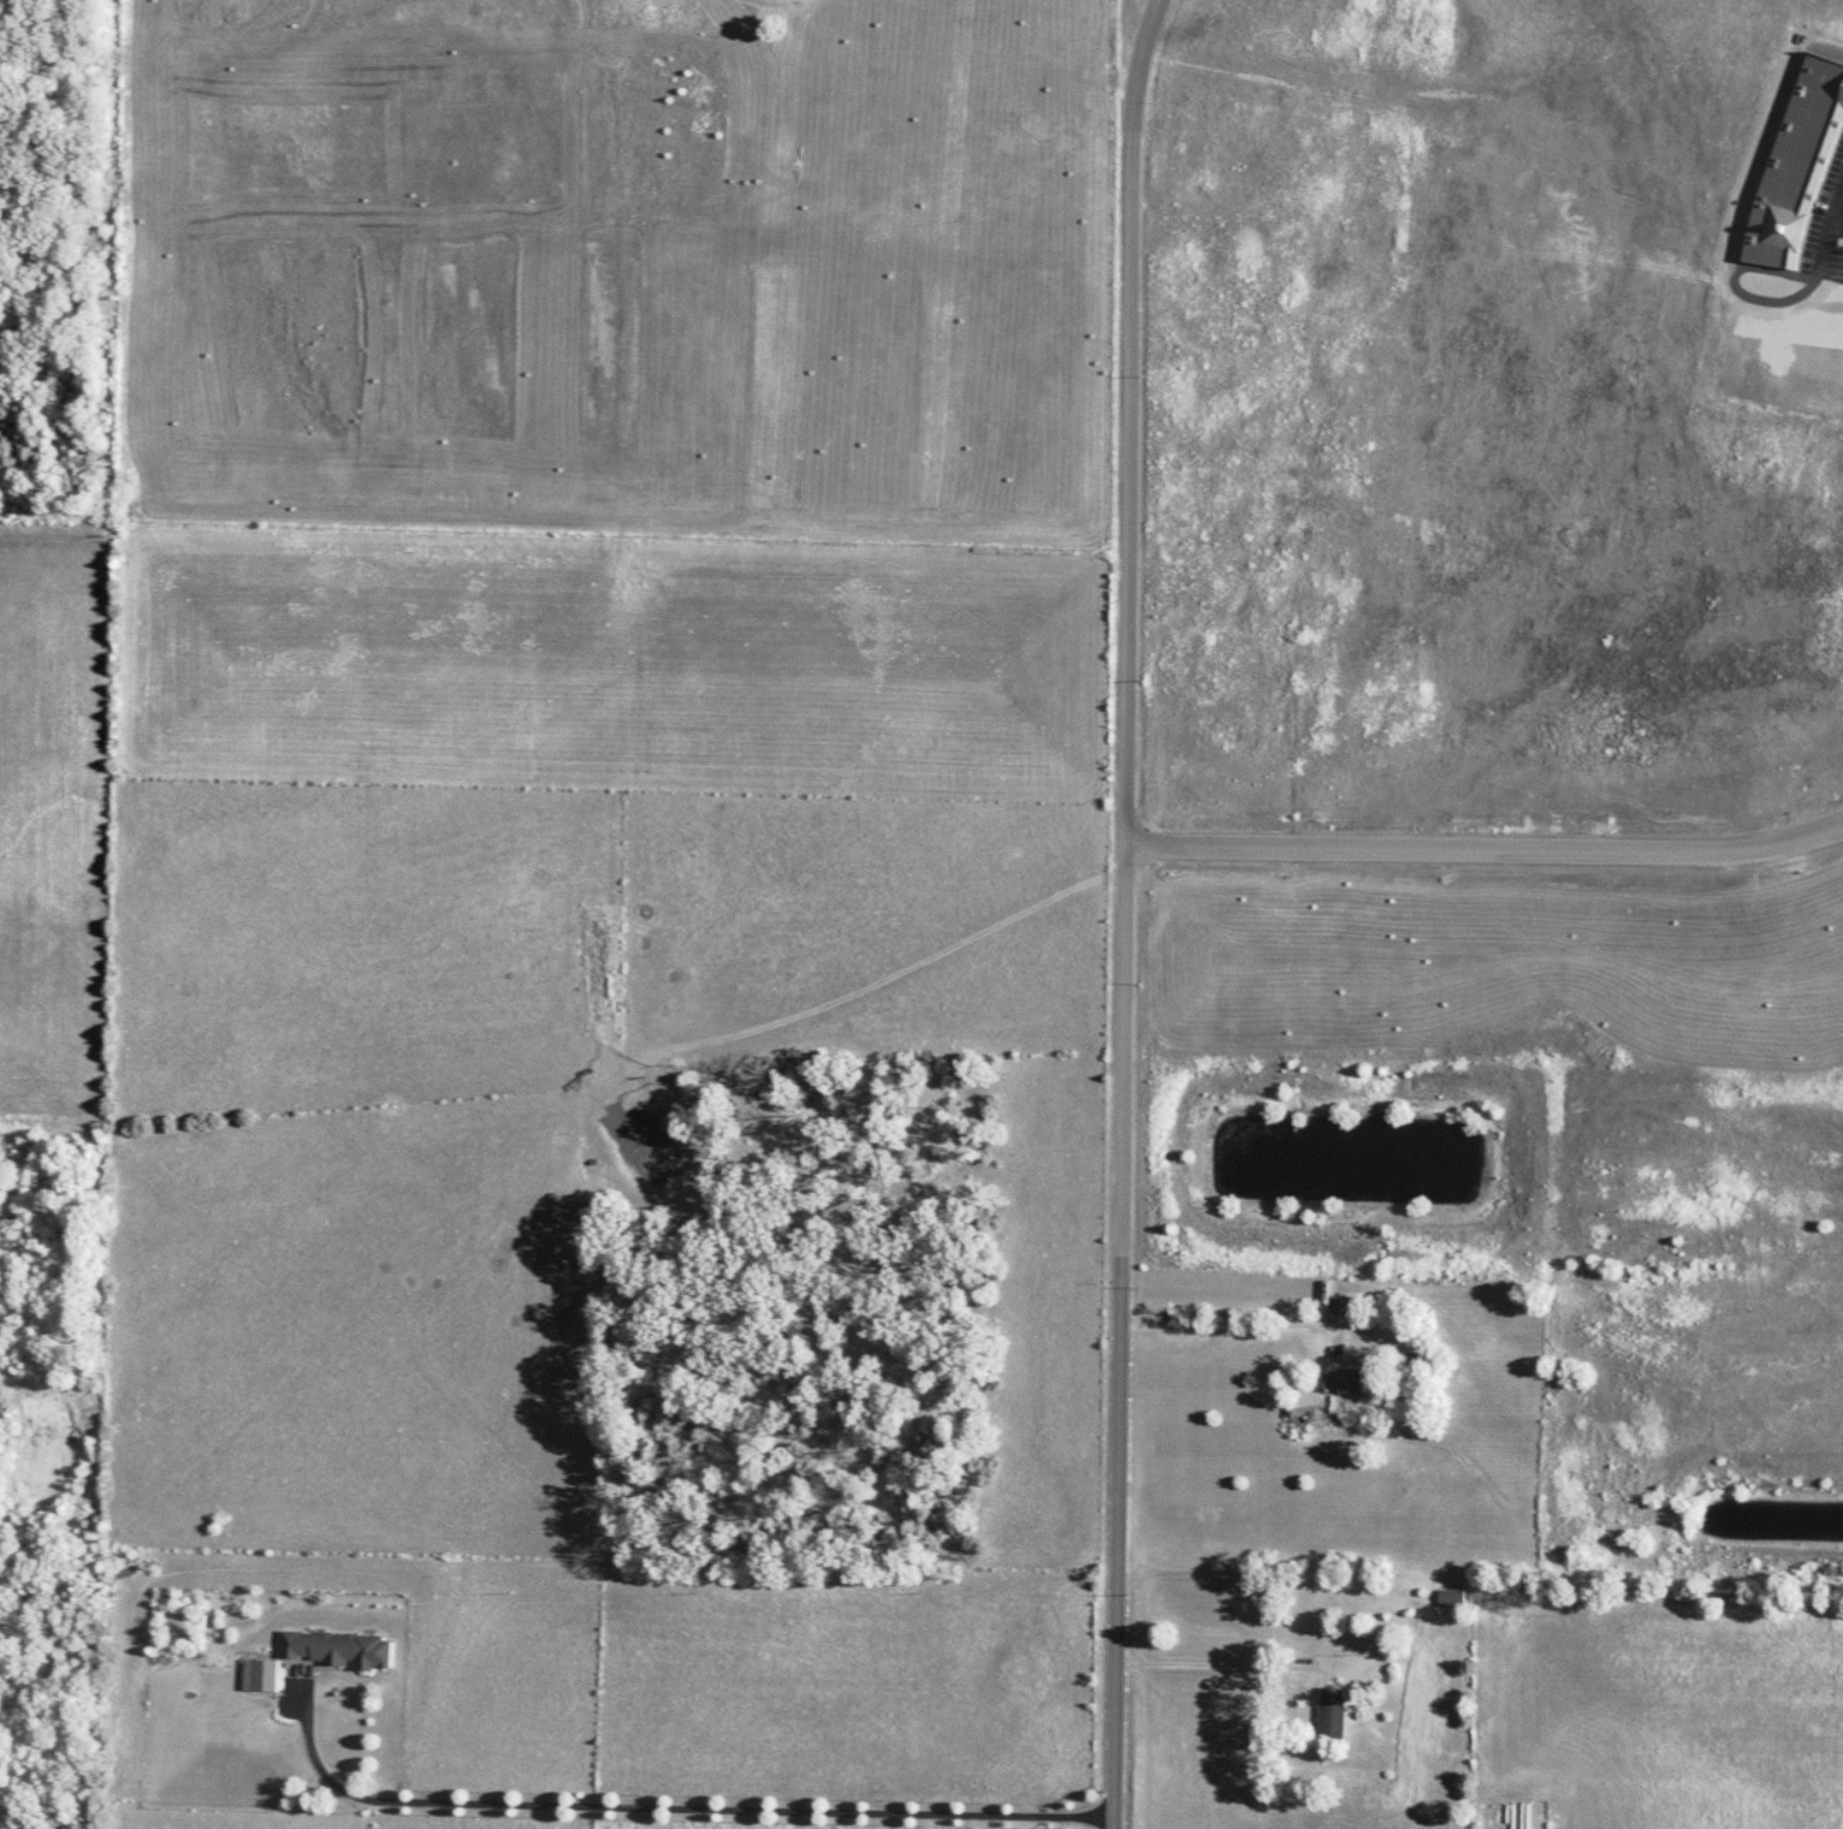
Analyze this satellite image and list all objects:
road: (1143, 57)
building: (1797, 166)
road: (1837, 220)
road: (1829, 230)
road: (1486, 853)
road: (1124, 972)
building: (1345, 1306)
road: (1226, 1323)
building: (1340, 1379)
building: (1451, 1599)
building: (312, 1662)
road: (1216, 1662)
building: (1331, 1714)
road: (666, 1805)

